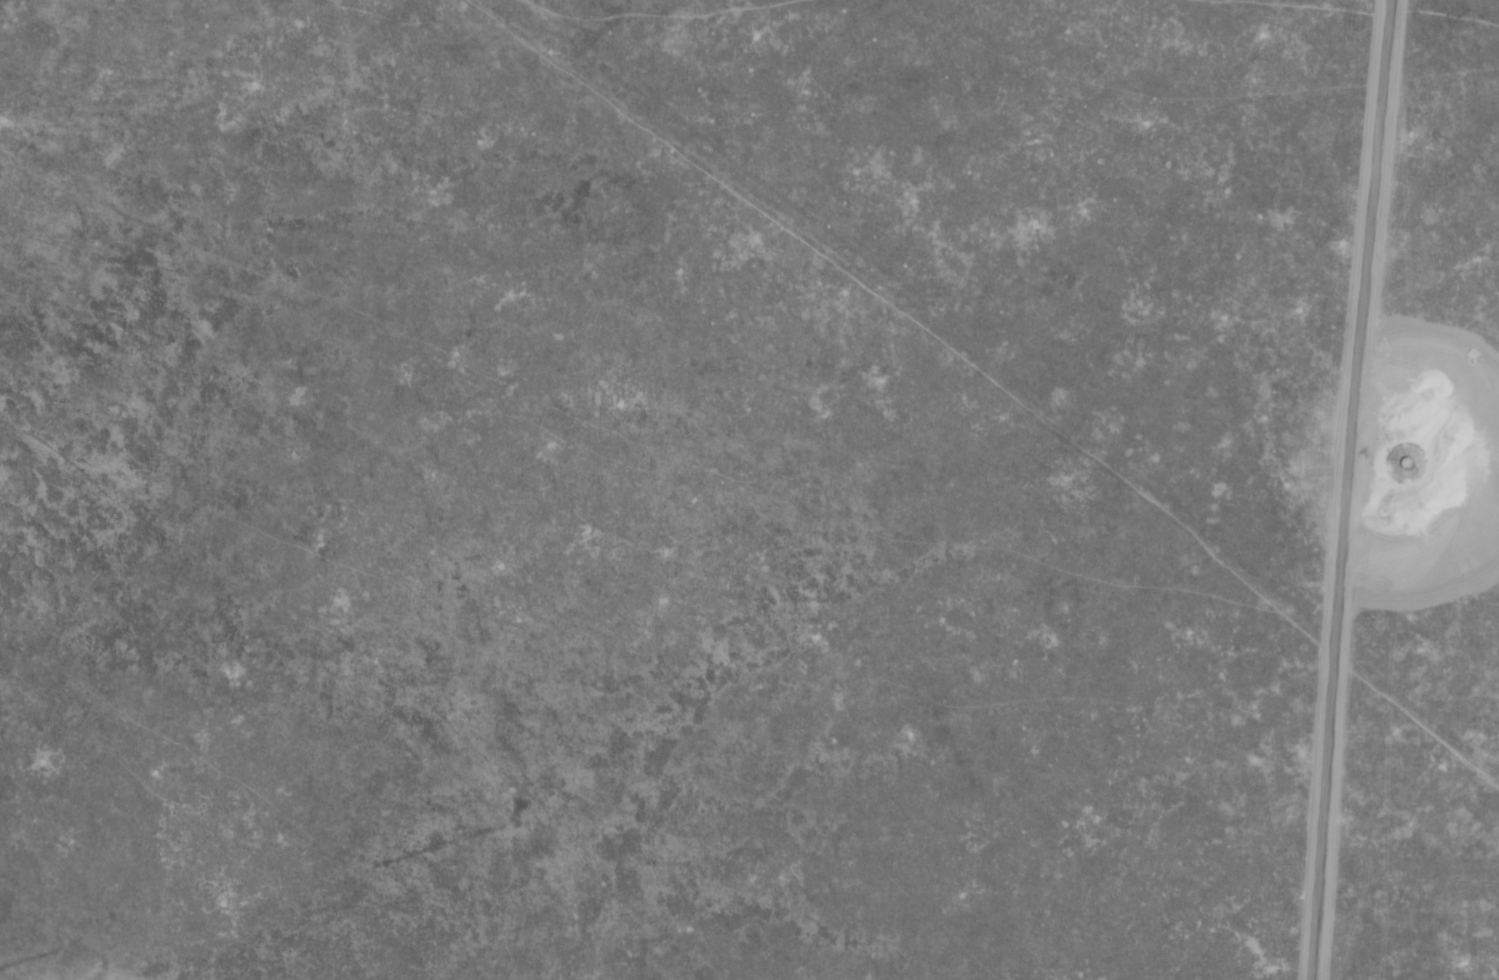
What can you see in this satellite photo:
wind turbine: (1420, 459)

